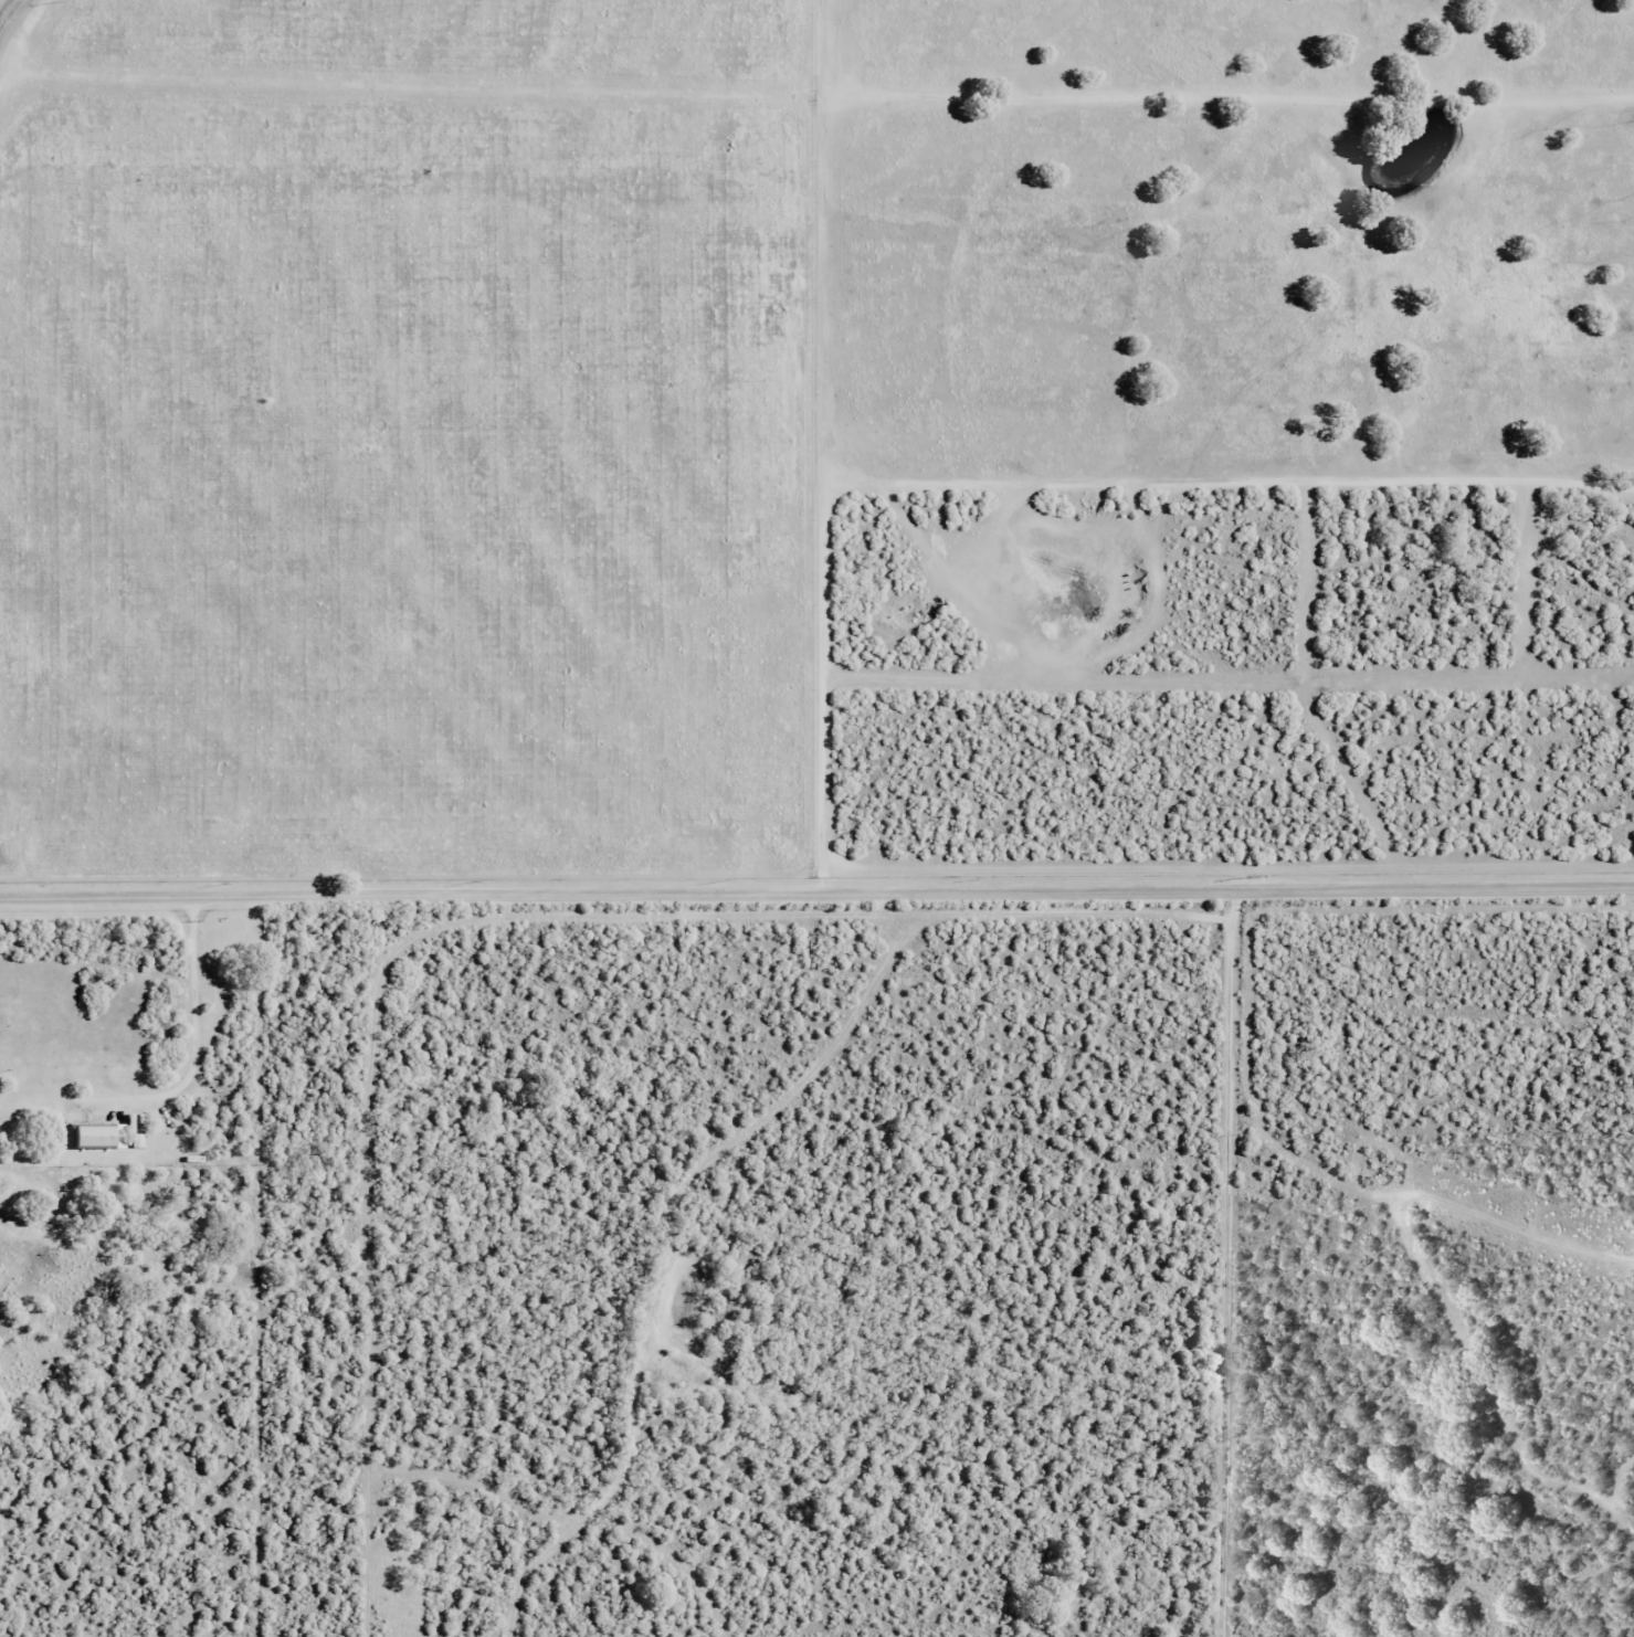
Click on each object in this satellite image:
road: (816, 890)
building: (88, 1136)
road: (1238, 1261)

